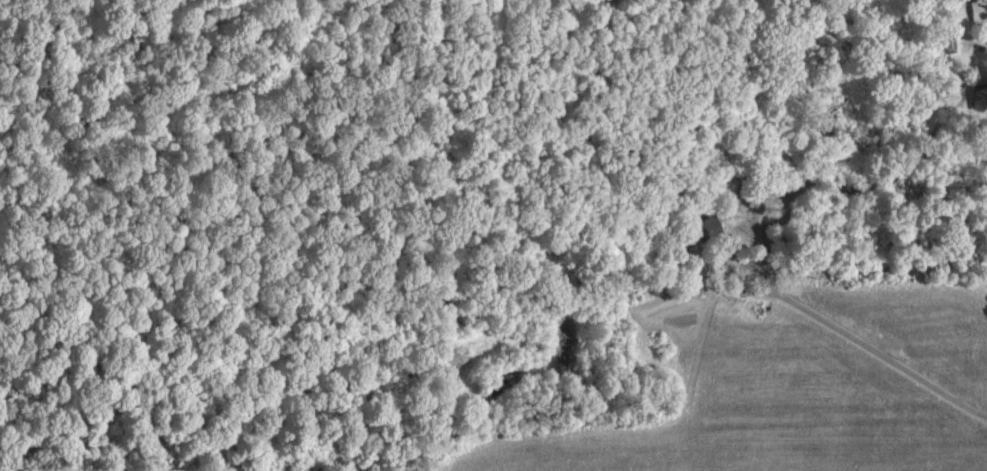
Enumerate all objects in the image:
building: (707, 226)

